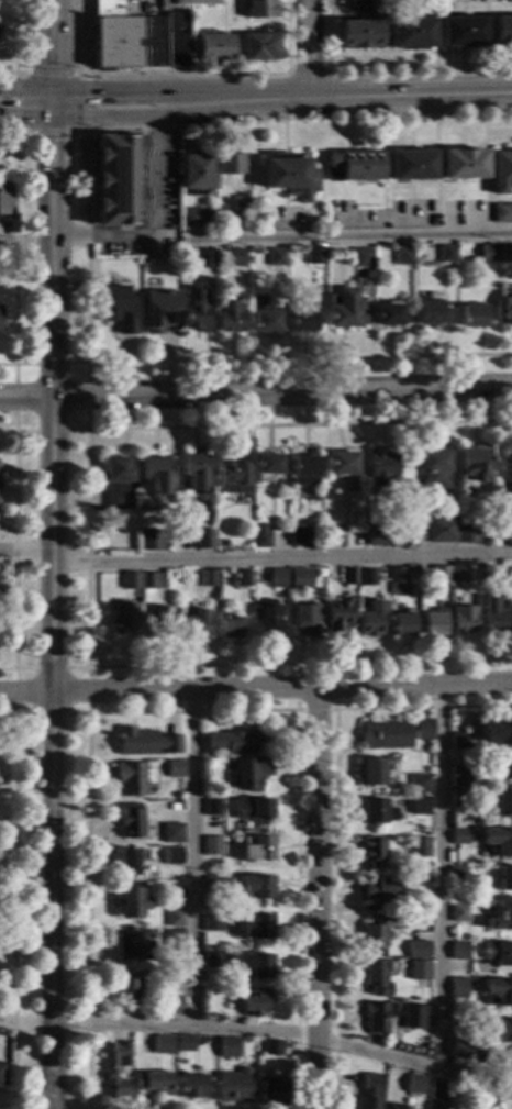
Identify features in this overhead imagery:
building: (196, 3)
building: (443, 7)
building: (257, 9)
building: (360, 29)
building: (460, 32)
building: (501, 32)
building: (410, 34)
building: (136, 38)
road: (14, 40)
road: (90, 41)
road: (54, 46)
building: (258, 47)
building: (212, 48)
road: (309, 49)
traffic signals: (54, 68)
road: (418, 71)
road: (14, 74)
road: (49, 74)
road: (179, 74)
road: (307, 75)
road: (233, 91)
road: (105, 92)
road: (26, 93)
traffic signals: (96, 93)
road: (410, 97)
road: (14, 103)
road: (88, 104)
road: (157, 104)
road: (53, 106)
road: (234, 111)
road: (105, 117)
road: (26, 118)
traffic signals: (9, 119)
road: (299, 119)
road: (22, 133)
road: (52, 133)
road: (80, 133)
traffic signals: (53, 140)
road: (7, 145)
building: (230, 164)
building: (464, 164)
building: (355, 166)
building: (412, 166)
building: (502, 171)
building: (197, 173)
building: (120, 177)
building: (291, 177)
building: (4, 198)
building: (241, 203)
building: (502, 211)
building: (198, 217)
road: (154, 228)
road: (348, 237)
road: (26, 243)
building: (507, 252)
building: (448, 253)
building: (489, 253)
road: (14, 255)
building: (316, 255)
building: (404, 255)
road: (88, 256)
building: (277, 256)
building: (234, 257)
building: (207, 258)
building: (363, 258)
building: (359, 274)
building: (119, 309)
building: (198, 309)
building: (160, 311)
building: (507, 311)
building: (428, 312)
building: (264, 315)
building: (390, 315)
building: (472, 315)
building: (230, 317)
building: (345, 317)
building: (1, 318)
building: (302, 320)
road: (300, 358)
road: (25, 364)
road: (51, 364)
road: (76, 364)
road: (256, 395)
road: (88, 397)
road: (14, 398)
road: (300, 424)
road: (76, 430)
road: (25, 431)
road: (51, 431)
building: (342, 462)
building: (472, 463)
building: (269, 464)
building: (434, 468)
building: (304, 469)
building: (196, 472)
building: (231, 473)
building: (380, 473)
building: (155, 475)
building: (507, 475)
building: (116, 480)
building: (0, 483)
building: (446, 528)
building: (467, 534)
building: (261, 536)
building: (301, 537)
building: (335, 537)
building: (376, 537)
building: (204, 539)
building: (148, 541)
building: (227, 543)
road: (88, 544)
road: (14, 546)
road: (25, 551)
road: (281, 559)
building: (487, 573)
building: (441, 574)
building: (457, 574)
building: (510, 574)
building: (397, 575)
building: (352, 576)
building: (205, 577)
building: (367, 577)
building: (247, 578)
building: (279, 578)
building: (300, 578)
building: (131, 580)
building: (153, 580)
road: (52, 613)
building: (493, 616)
building: (338, 617)
building: (125, 618)
building: (372, 618)
building: (307, 619)
building: (511, 619)
building: (164, 622)
building: (197, 622)
building: (433, 623)
building: (464, 623)
building: (402, 624)
building: (231, 626)
building: (268, 628)
road: (300, 663)
road: (76, 668)
road: (25, 669)
road: (51, 669)
road: (256, 688)
road: (88, 691)
road: (14, 692)
road: (294, 706)
road: (75, 714)
road: (26, 716)
road: (51, 716)
building: (496, 731)
building: (396, 733)
building: (237, 740)
building: (459, 740)
building: (146, 742)
building: (504, 765)
building: (176, 768)
building: (375, 770)
building: (252, 773)
building: (460, 776)
building: (135, 778)
building: (419, 784)
building: (459, 795)
building: (499, 801)
building: (421, 805)
road: (294, 806)
building: (213, 808)
building: (254, 808)
building: (377, 811)
building: (131, 820)
road: (334, 820)
building: (172, 833)
building: (460, 836)
building: (499, 841)
building: (213, 845)
building: (421, 846)
building: (256, 849)
building: (374, 851)
building: (174, 855)
road: (193, 857)
building: (132, 861)
building: (459, 875)
road: (441, 877)
building: (504, 878)
building: (214, 886)
building: (380, 886)
building: (255, 887)
road: (318, 898)
building: (133, 901)
road: (13, 906)
road: (88, 906)
building: (405, 906)
building: (460, 913)
building: (175, 917)
building: (500, 918)
building: (212, 921)
building: (257, 927)
building: (376, 933)
building: (174, 939)
building: (132, 946)
building: (420, 949)
building: (460, 951)
building: (499, 953)
building: (213, 960)
building: (255, 966)
building: (420, 969)
building: (376, 976)
building: (459, 987)
building: (130, 989)
building: (502, 992)
building: (256, 1001)
building: (174, 1005)
building: (378, 1016)
building: (459, 1017)
building: (499, 1030)
road: (259, 1032)
building: (185, 1042)
building: (164, 1044)
building: (229, 1046)
building: (274, 1046)
building: (459, 1046)
building: (421, 1047)
building: (502, 1063)
building: (0, 1067)
building: (115, 1067)
building: (155, 1082)
building: (416, 1084)
building: (235, 1085)
building: (194, 1086)
building: (436, 1089)
building: (370, 1091)
building: (272, 1093)
building: (481, 1101)
building: (400, 1106)
building: (432, 1106)

